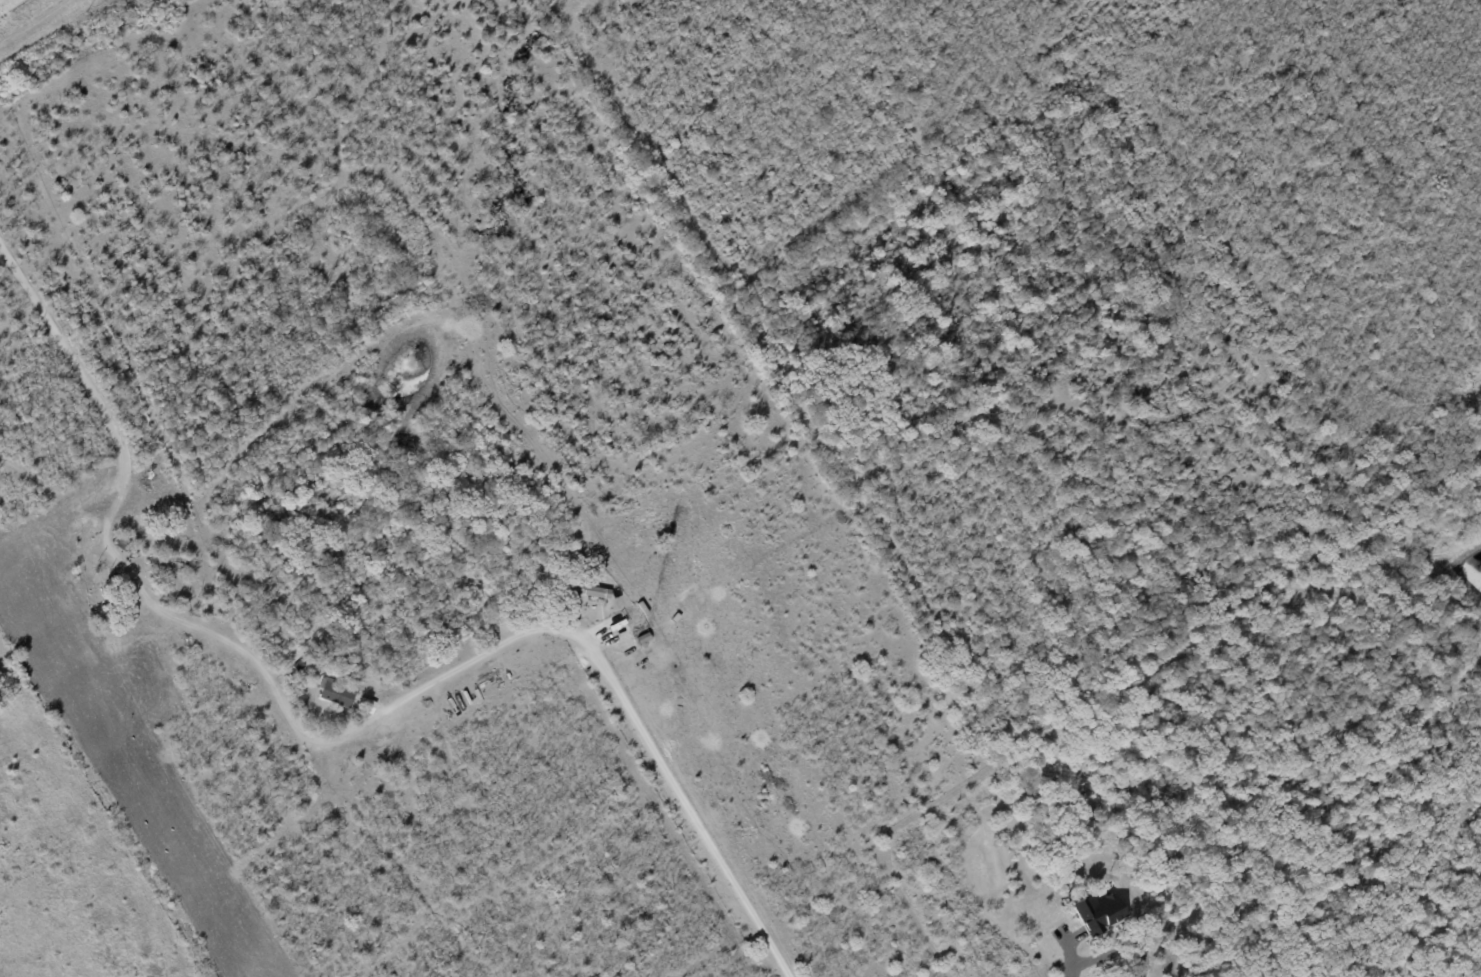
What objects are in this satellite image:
building: (336, 692)
road: (316, 740)
road: (668, 772)
building: (1099, 911)
road: (1134, 974)

